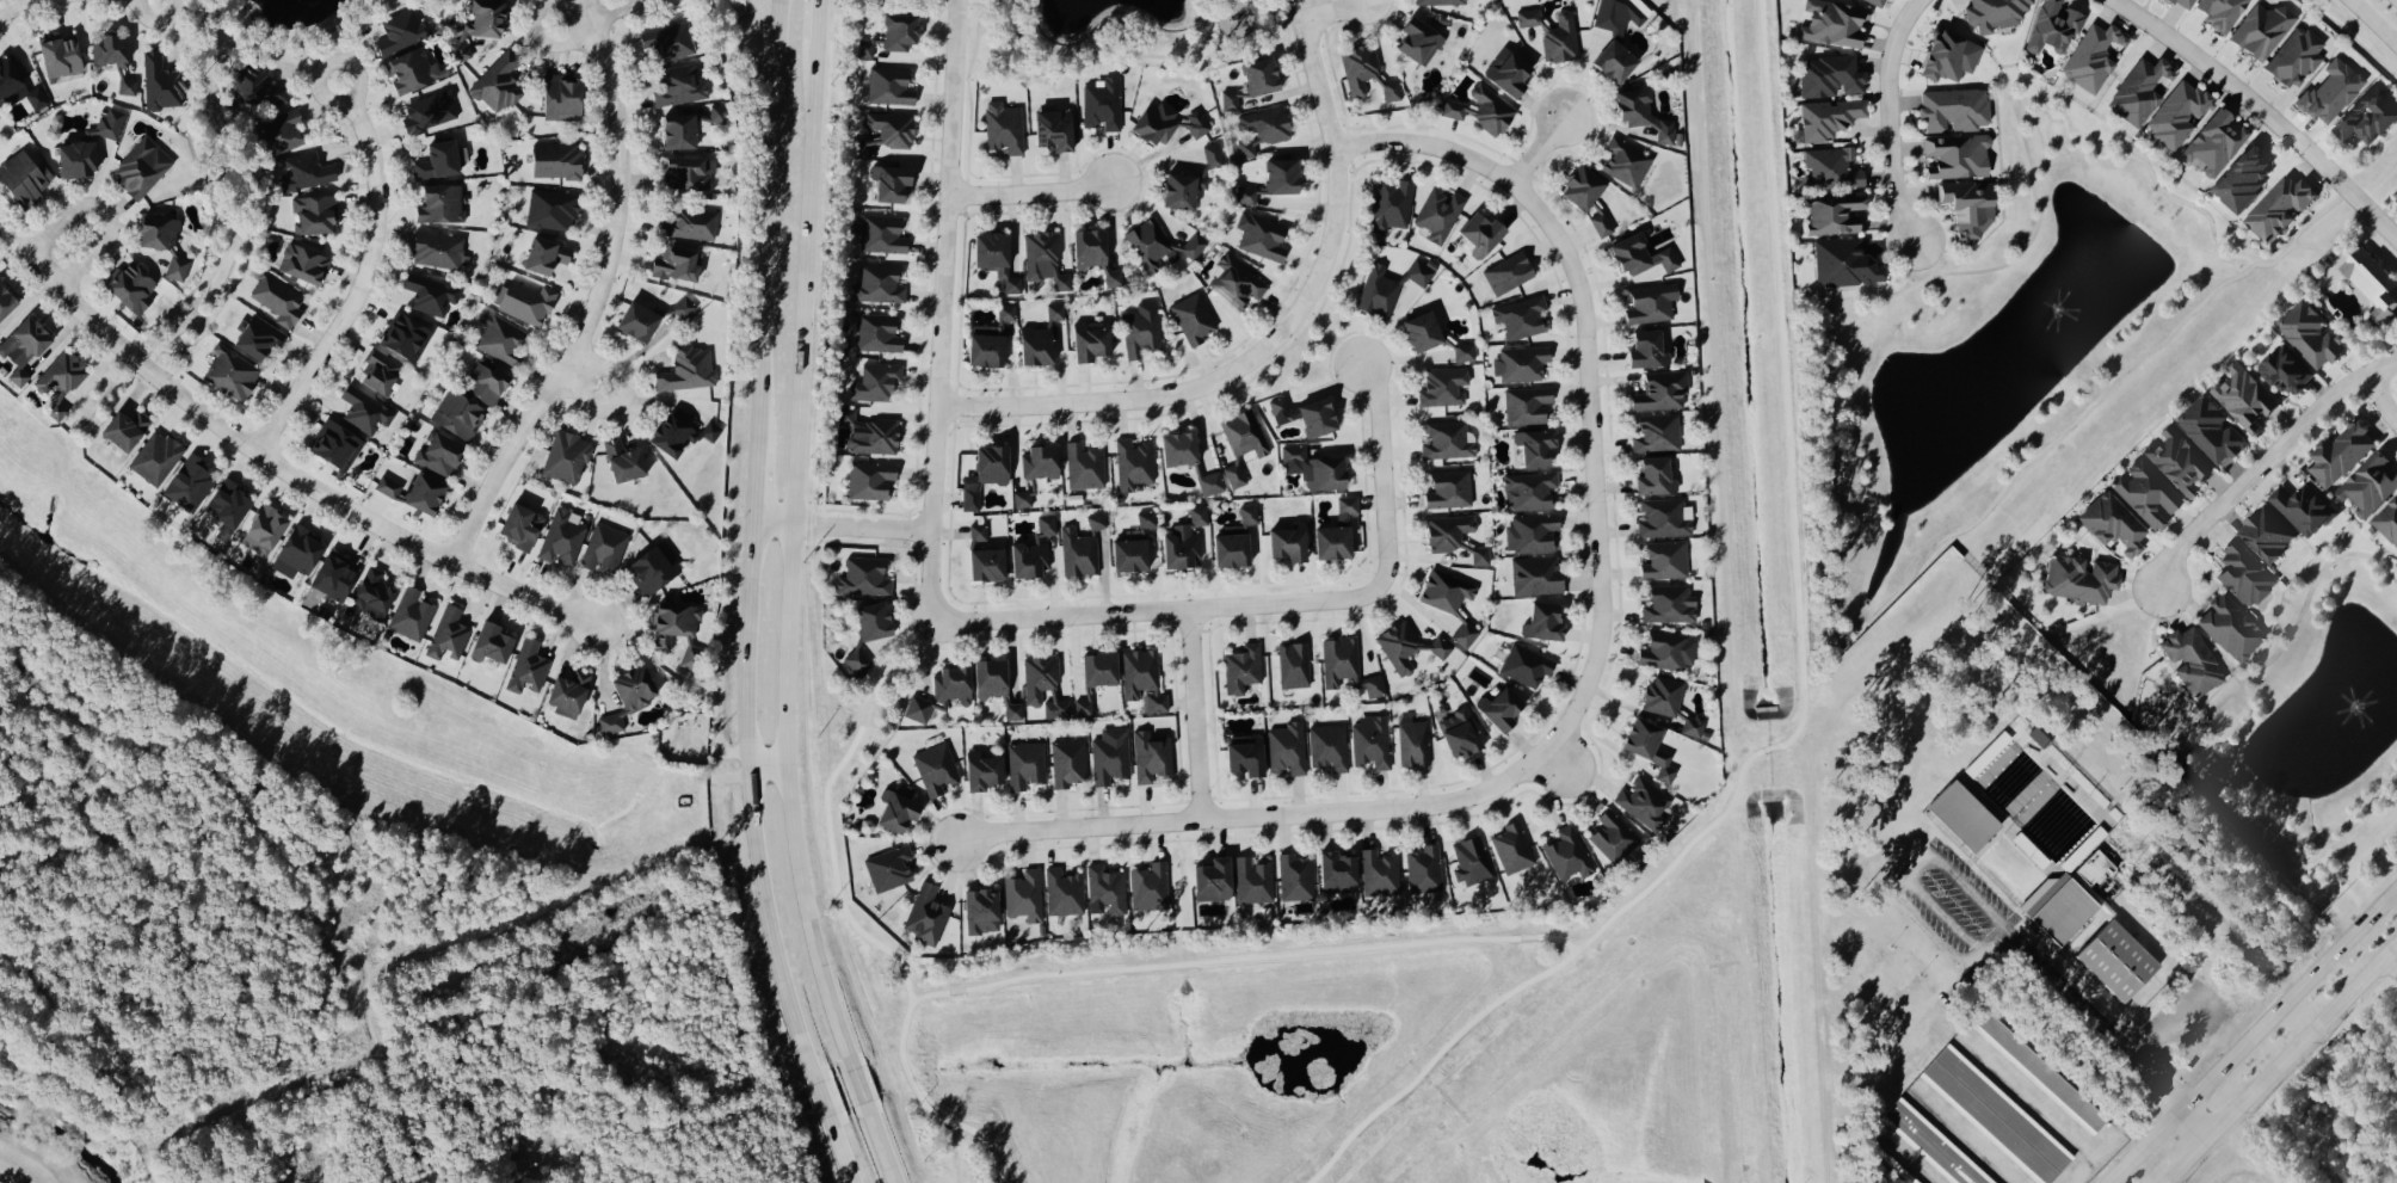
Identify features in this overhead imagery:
road: (153, 1)
building: (1440, 1)
building: (1875, 2)
road: (12, 4)
road: (1320, 4)
building: (2183, 4)
road: (586, 5)
road: (614, 10)
building: (1995, 13)
building: (2220, 13)
road: (569, 19)
road: (2374, 20)
building: (1832, 23)
building: (476, 26)
building: (2052, 26)
road: (782, 30)
road: (820, 30)
building: (2262, 30)
building: (400, 31)
building: (898, 32)
building: (1553, 33)
building: (1615, 36)
building: (1418, 41)
building: (667, 42)
building: (864, 48)
building: (109, 49)
building: (58, 56)
building: (1948, 56)
building: (2091, 57)
building: (2294, 57)
building: (1358, 68)
building: (411, 70)
building: (1506, 72)
building: (11, 74)
building: (1830, 75)
building: (1258, 76)
building: (159, 82)
building: (497, 82)
building: (255, 85)
building: (677, 85)
building: (127, 86)
building: (889, 86)
building: (1389, 90)
building: (2140, 90)
building: (2330, 92)
building: (560, 97)
building: (36, 98)
building: (1228, 100)
building: (1102, 104)
building: (1481, 110)
building: (1953, 110)
building: (429, 111)
road: (2260, 112)
building: (1640, 113)
building: (2177, 113)
building: (2368, 117)
road: (1888, 119)
building: (110, 123)
building: (1154, 123)
building: (1196, 124)
building: (1003, 127)
building: (891, 128)
building: (1052, 129)
building: (1261, 129)
building: (677, 131)
building: (281, 133)
building: (2214, 142)
building: (861, 147)
road: (1536, 152)
building: (1212, 155)
building: (1955, 156)
building: (74, 159)
building: (436, 160)
building: (555, 160)
building: (1626, 162)
building: (140, 167)
building: (1832, 167)
building: (306, 172)
building: (688, 173)
building: (1281, 175)
building: (21, 179)
building: (2242, 180)
building: (888, 183)
building: (1181, 190)
road: (1028, 192)
building: (1246, 195)
building: (1588, 196)
building: (2396, 199)
building: (438, 204)
building: (1391, 207)
building: (2279, 208)
building: (1967, 209)
road: (101, 210)
building: (550, 210)
building: (314, 214)
building: (1438, 214)
building: (1834, 214)
building: (690, 223)
building: (155, 233)
building: (881, 234)
building: (1479, 234)
building: (1261, 236)
building: (1147, 244)
building: (1193, 246)
building: (1087, 248)
building: (438, 249)
building: (543, 255)
building: (1639, 255)
building: (994, 259)
building: (1043, 259)
building: (302, 264)
building: (674, 264)
building: (1844, 264)
building: (175, 267)
building: (1419, 272)
building: (1508, 273)
building: (1113, 278)
road: (361, 279)
building: (1234, 282)
building: (2373, 282)
building: (877, 284)
building: (130, 288)
building: (1378, 292)
building: (430, 294)
building: (277, 300)
building: (522, 301)
building: (5, 302)
road: (594, 302)
building: (1650, 303)
road: (939, 304)
building: (683, 307)
building: (1005, 312)
building: (1520, 318)
building: (1193, 319)
building: (635, 321)
building: (1141, 329)
building: (1421, 332)
building: (876, 333)
building: (2311, 334)
building: (257, 337)
building: (403, 338)
building: (499, 338)
road: (1276, 338)
building: (1039, 339)
building: (1090, 341)
building: (984, 345)
building: (21, 347)
building: (1646, 350)
building: (1464, 352)
building: (1521, 364)
building: (688, 369)
building: (2286, 370)
building: (377, 371)
building: (230, 372)
road: (1580, 372)
road: (583, 378)
building: (60, 381)
building: (875, 382)
building: (483, 383)
building: (1442, 387)
building: (1660, 390)
building: (2244, 398)
road: (2378, 398)
building: (1527, 405)
building: (1278, 406)
building: (364, 411)
building: (457, 415)
building: (1315, 418)
building: (123, 429)
building: (2211, 430)
building: (672, 431)
building: (709, 431)
building: (869, 433)
building: (1656, 433)
building: (1244, 436)
building: (1447, 440)
building: (333, 445)
building: (1534, 446)
building: (1177, 448)
building: (2341, 454)
building: (438, 455)
building: (154, 457)
building: (566, 457)
building: (621, 460)
building: (1039, 461)
building: (2177, 462)
road: (2262, 462)
road: (271, 463)
building: (1133, 464)
building: (1084, 466)
building: (1313, 468)
road: (1380, 473)
building: (984, 474)
building: (1234, 476)
building: (1653, 477)
building: (869, 480)
building: (189, 483)
building: (1210, 483)
building: (2368, 486)
building: (386, 487)
building: (1448, 489)
building: (1529, 491)
building: (421, 494)
building: (2146, 494)
building: (1022, 499)
building: (227, 506)
building: (1345, 507)
building: (2304, 510)
building: (1146, 519)
building: (1663, 519)
building: (2387, 520)
building: (1096, 522)
building: (2112, 524)
building: (1046, 525)
building: (519, 526)
road: (844, 528)
building: (263, 530)
building: (1530, 534)
building: (978, 535)
building: (2266, 536)
building: (561, 537)
building: (1454, 537)
building: (1233, 541)
building: (1183, 542)
building: (1331, 543)
building: (1287, 544)
building: (604, 548)
building: (295, 552)
building: (1078, 554)
building: (1128, 556)
building: (1028, 560)
building: (1664, 561)
building: (985, 565)
road: (793, 567)
building: (651, 568)
road: (753, 574)
building: (1535, 575)
building: (2243, 575)
building: (332, 578)
building: (863, 578)
building: (2079, 579)
building: (371, 591)
building: (1444, 591)
building: (1669, 604)
road: (1154, 612)
building: (411, 614)
building: (871, 621)
building: (672, 622)
building: (1542, 623)
building: (2230, 629)
building: (448, 634)
building: (1465, 635)
building: (489, 645)
building: (1405, 647)
building: (1666, 651)
building: (857, 661)
building: (2190, 661)
building: (1293, 665)
building: (1526, 666)
building: (1241, 667)
building: (1347, 667)
building: (526, 668)
building: (988, 678)
building: (1095, 678)
building: (1141, 679)
building: (950, 686)
building: (1043, 686)
building: (567, 691)
building: (627, 696)
building: (1662, 696)
building: (1499, 707)
building: (918, 709)
building: (1012, 711)
road: (1191, 716)
building: (1694, 725)
building: (1459, 732)
building: (1370, 740)
building: (1412, 741)
building: (1327, 746)
building: (1647, 746)
building: (1286, 747)
building: (1244, 752)
building: (1109, 754)
building: (1151, 756)
building: (1067, 762)
road: (770, 764)
building: (1024, 764)
building: (935, 768)
building: (981, 770)
building: (1641, 800)
building: (895, 809)
building: (1962, 814)
road: (1255, 817)
building: (1612, 836)
building: (1512, 846)
building: (1567, 854)
building: (1469, 859)
road: (1920, 864)
building: (888, 868)
building: (1424, 868)
building: (1336, 871)
building: (1379, 871)
building: (1295, 876)
building: (1210, 879)
building: (1252, 880)
building: (1148, 886)
building: (1107, 888)
road: (1970, 889)
building: (1062, 891)
building: (1023, 894)
building: (2059, 906)
building: (980, 910)
building: (925, 914)
road: (1943, 916)
road: (1994, 939)
building: (2116, 959)
park: (352, 968)
road: (2385, 976)
road: (2106, 1033)
road: (2251, 1035)
road: (2279, 1062)
road: (858, 1085)
park: (2358, 1085)
road: (822, 1099)
building: (1996, 1114)
river: (64, 1135)
road: (880, 1142)
building: (1933, 1144)
road: (842, 1150)
road: (2089, 1162)

